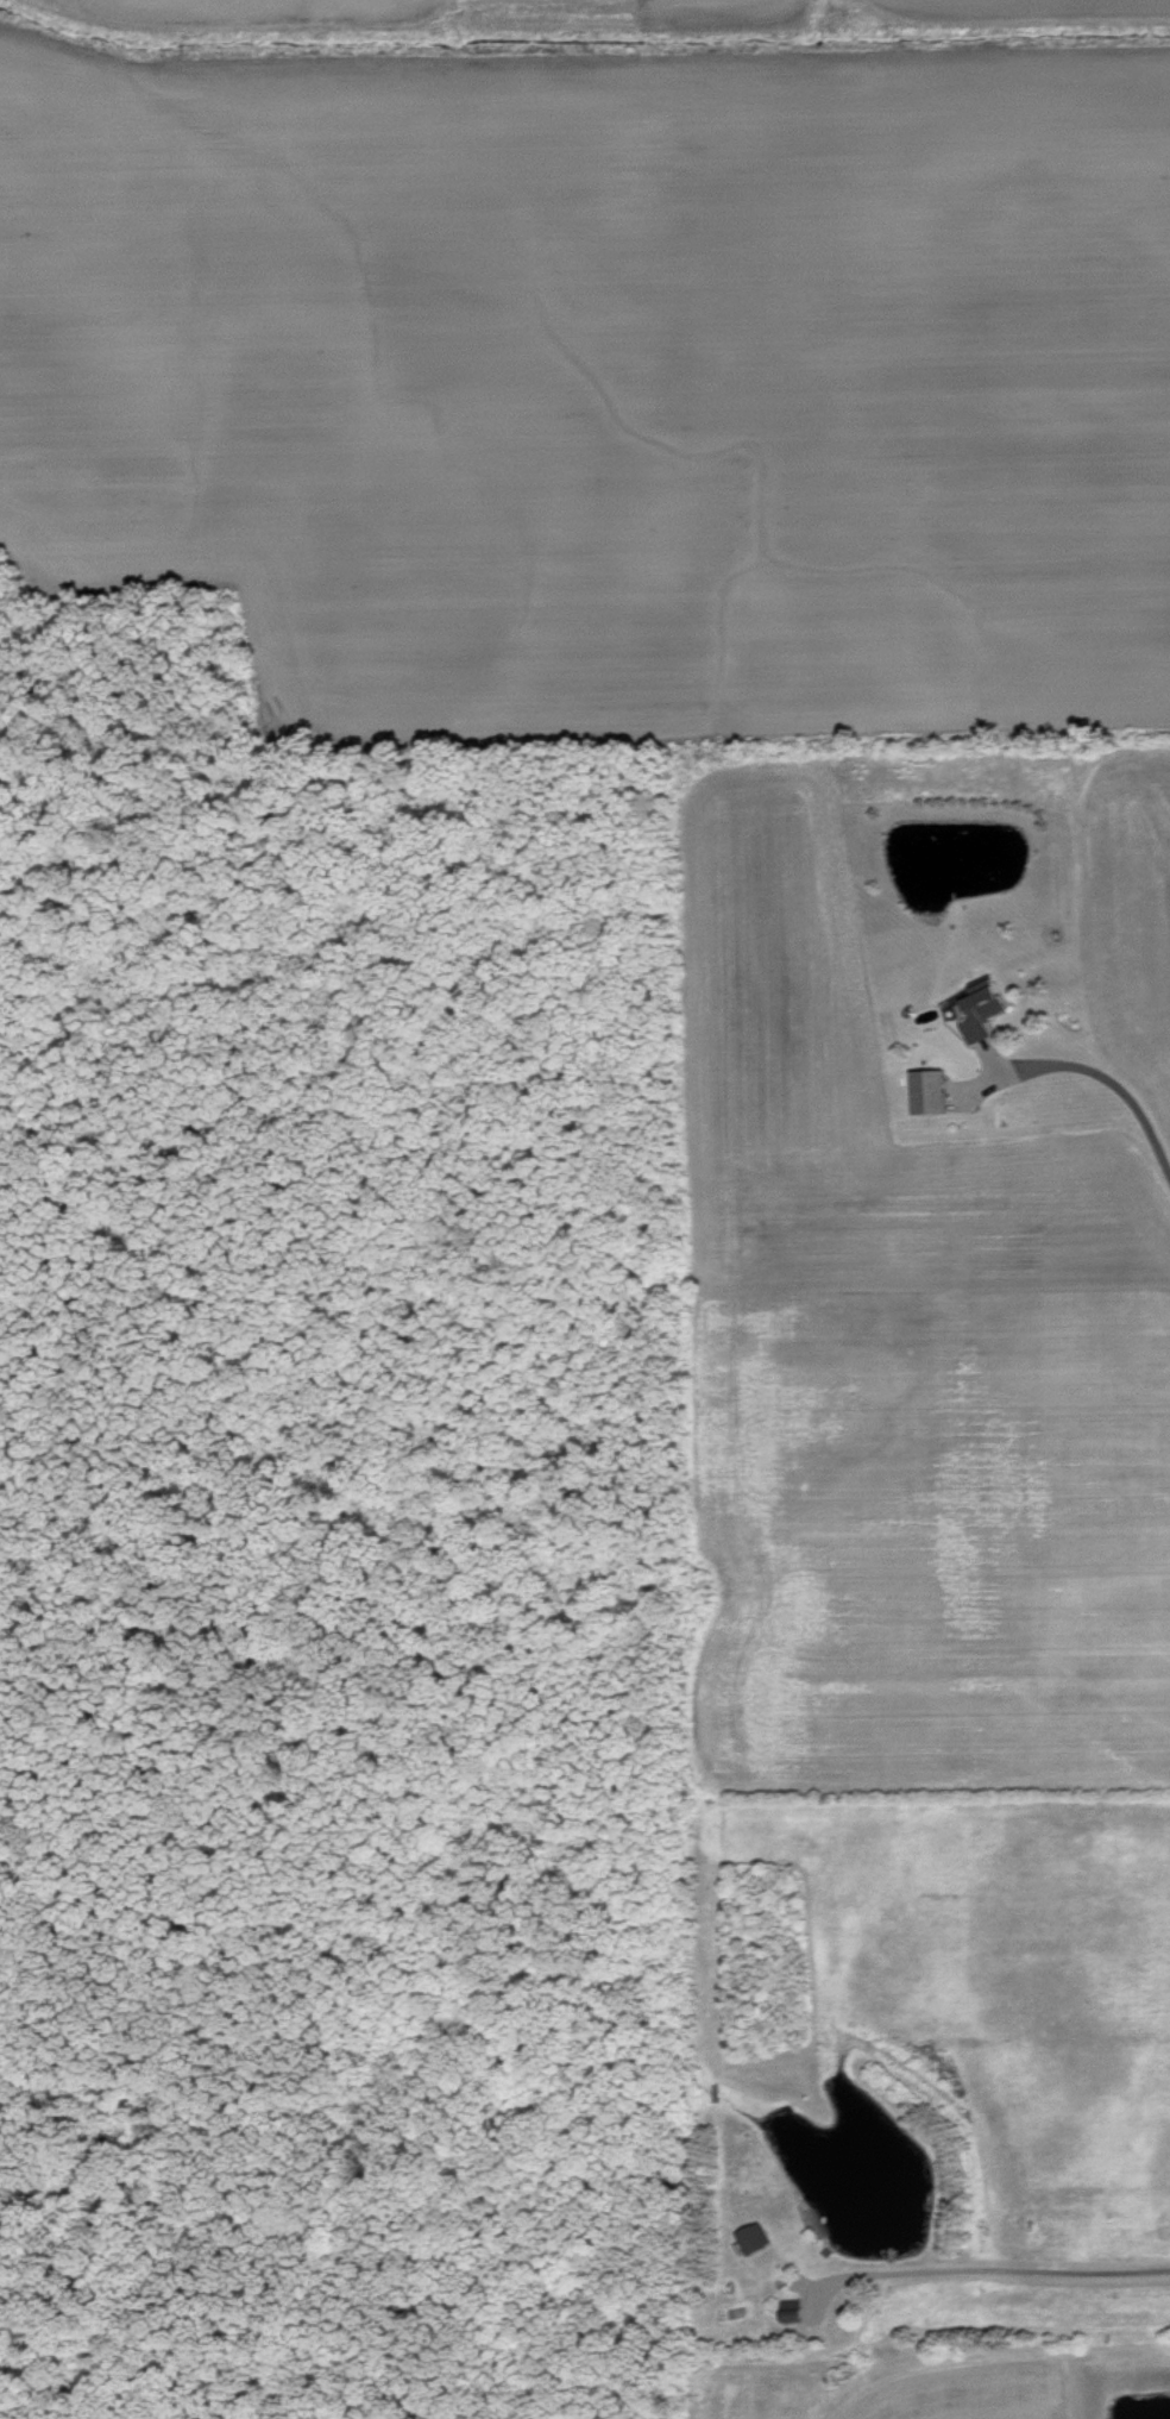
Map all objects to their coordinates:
building: (976, 1009)
road: (1096, 1070)
building: (926, 1089)
building: (750, 2236)
road: (982, 2269)
building: (786, 2310)

